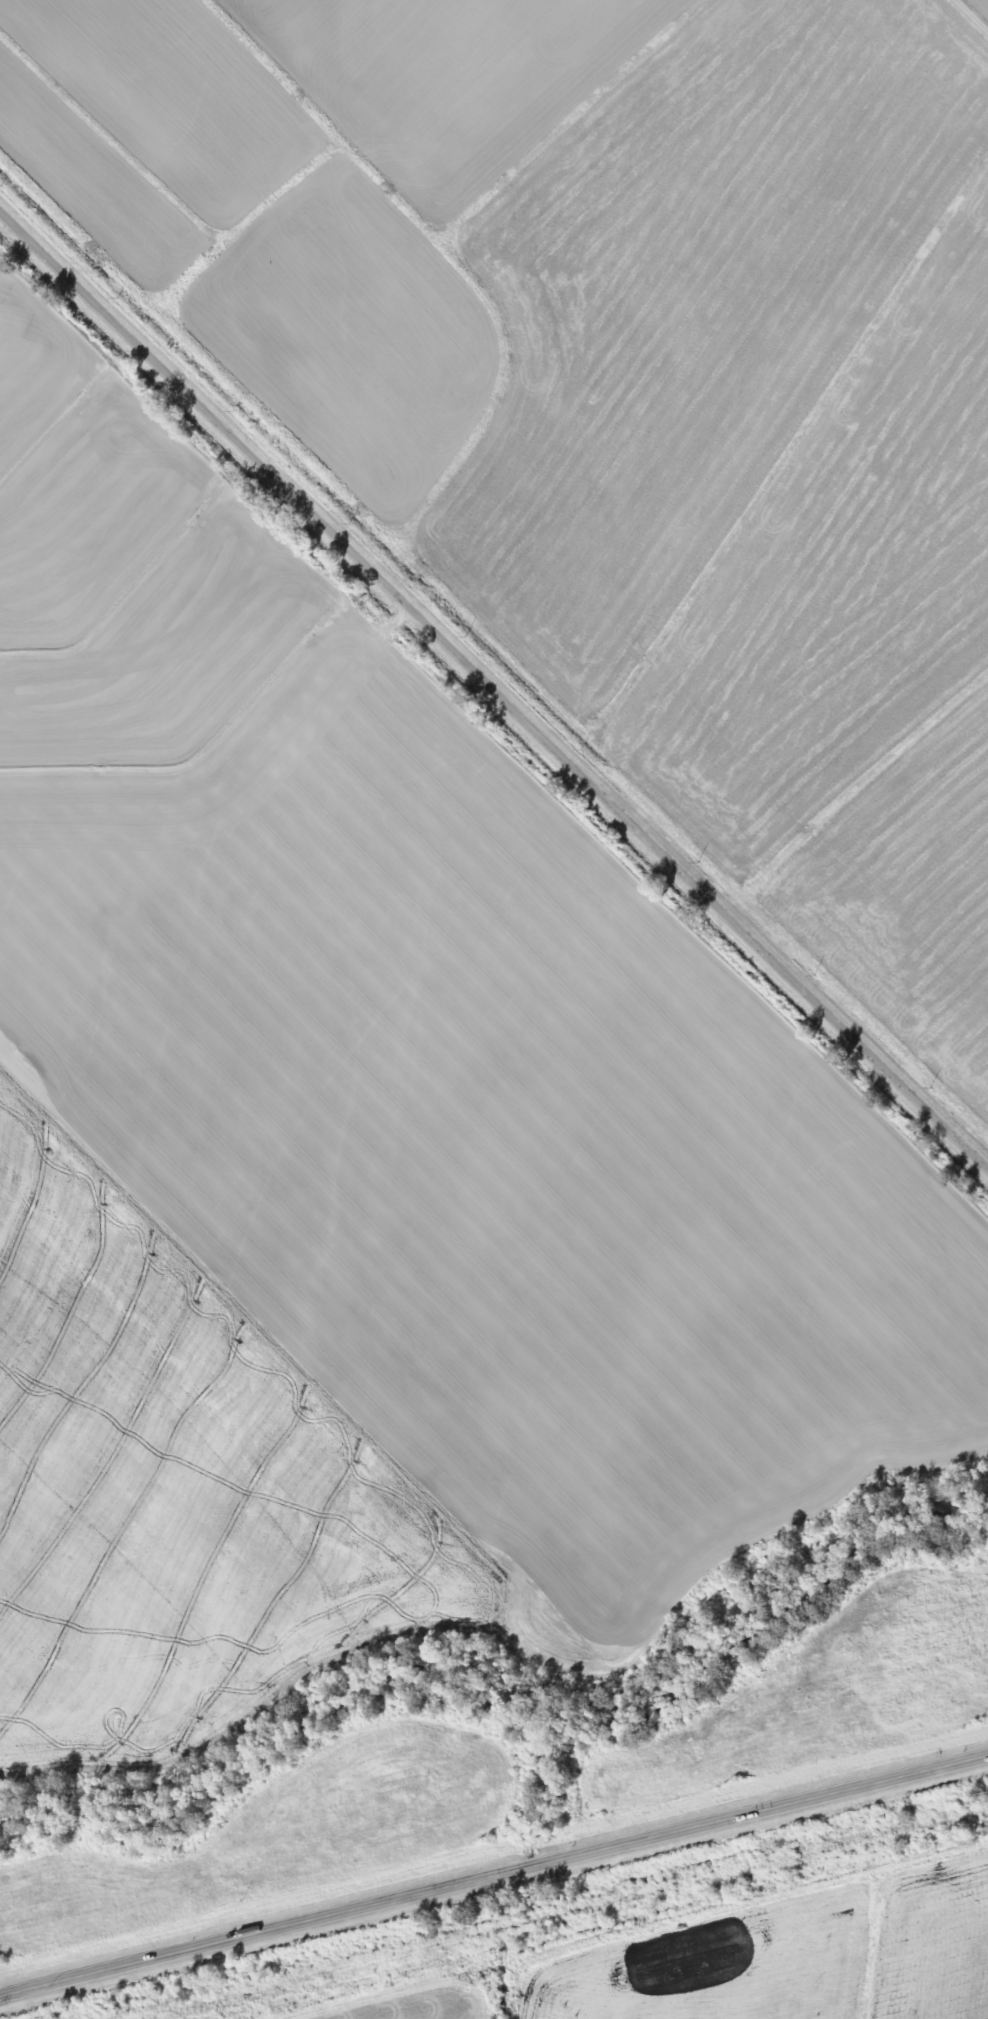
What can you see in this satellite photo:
road: (494, 684)
road: (494, 1878)
railway: (557, 1913)

